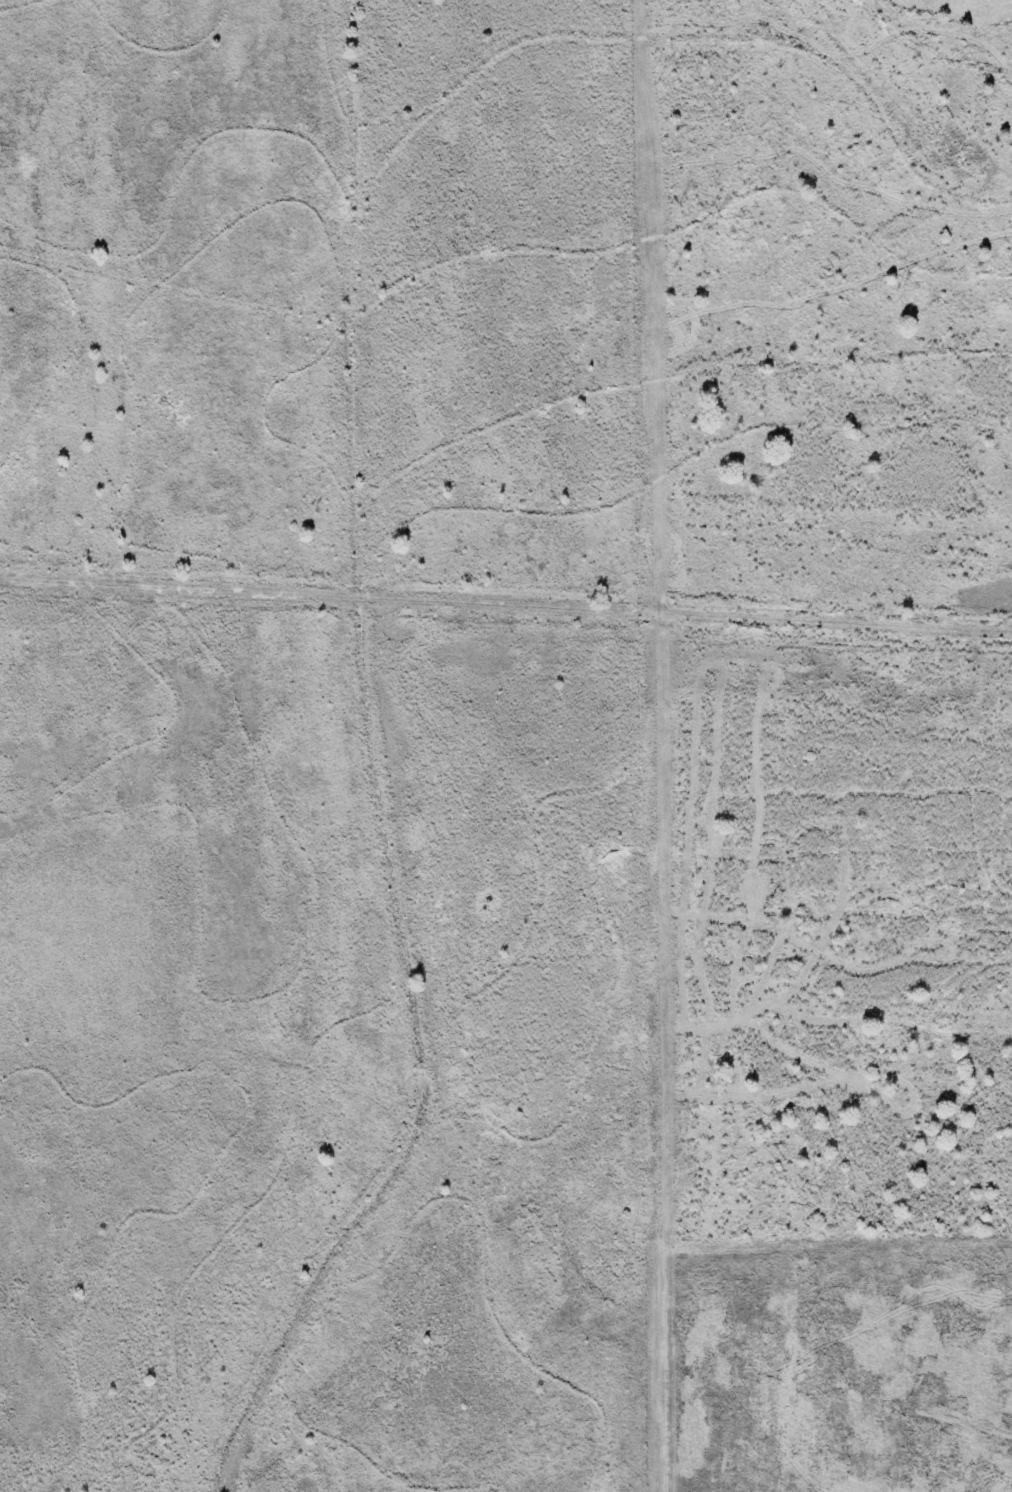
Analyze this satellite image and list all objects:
railway: (506, 1027)

